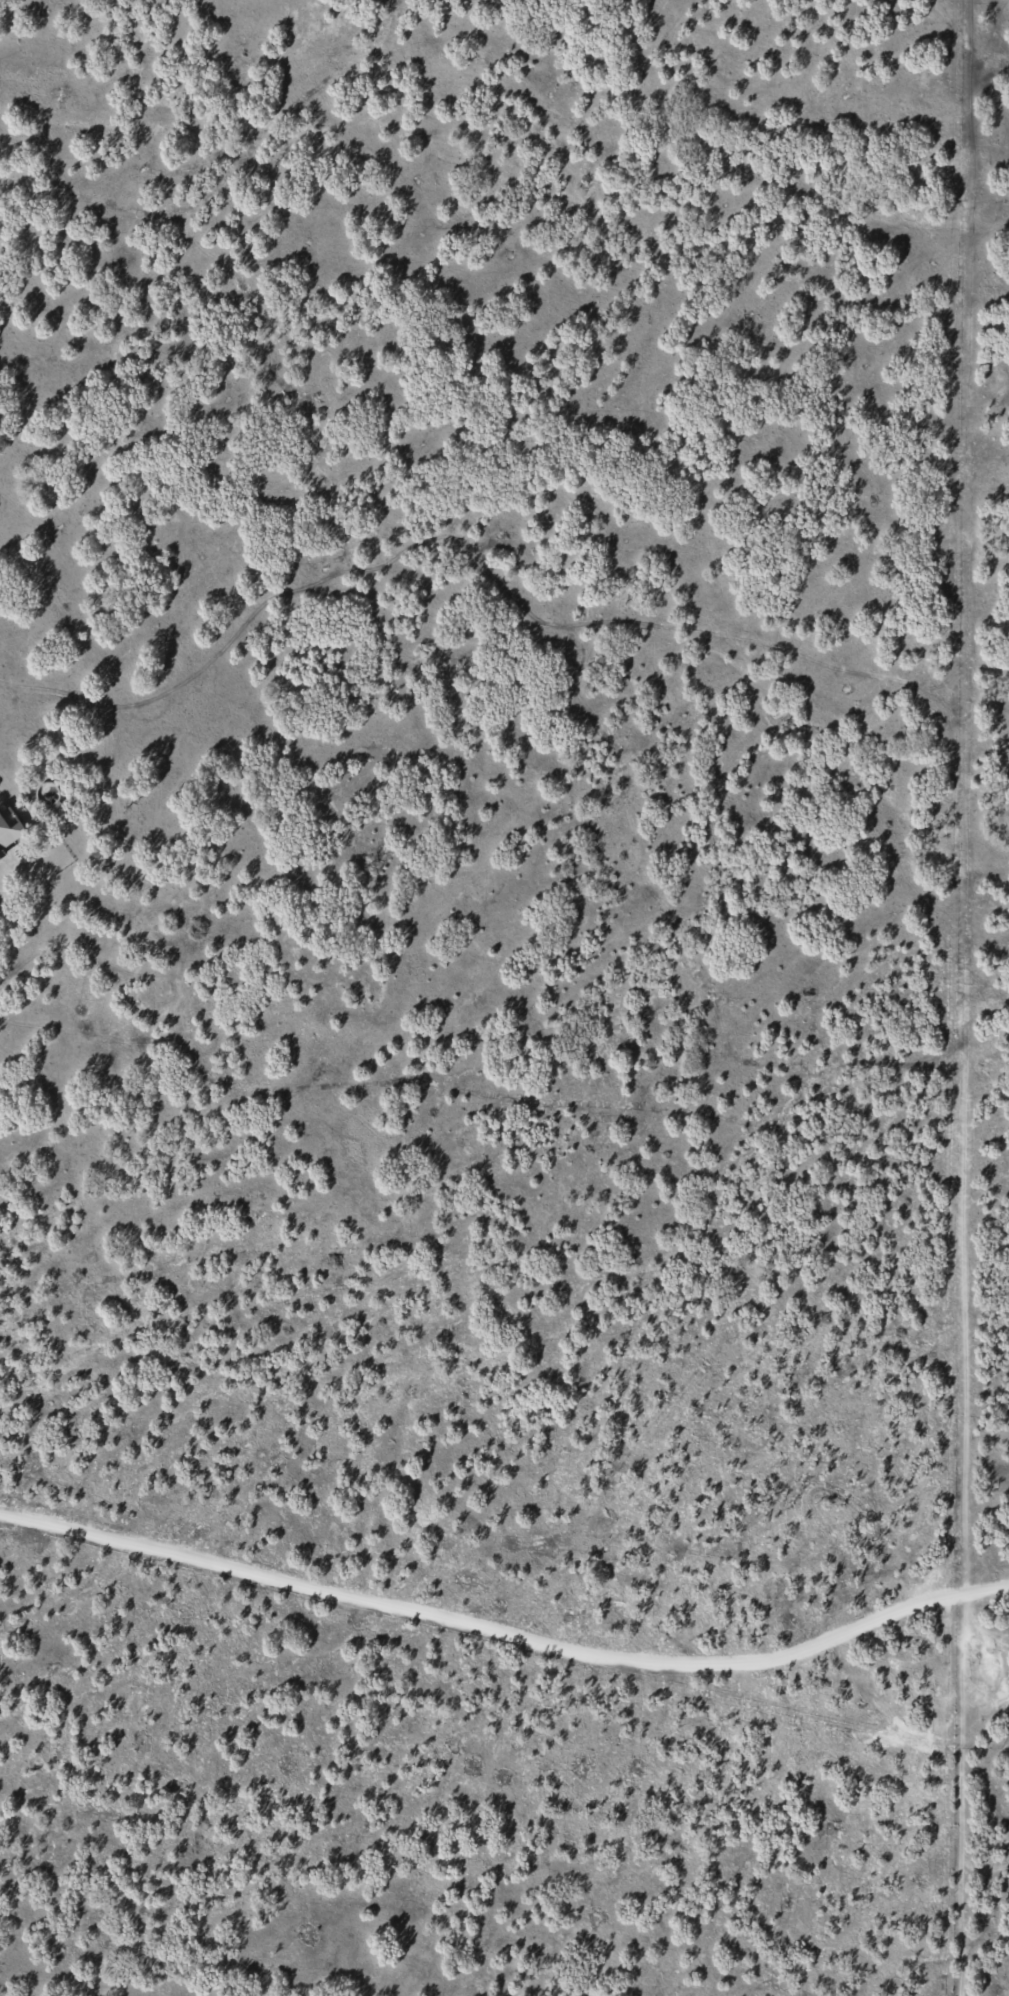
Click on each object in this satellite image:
building: (10, 828)

